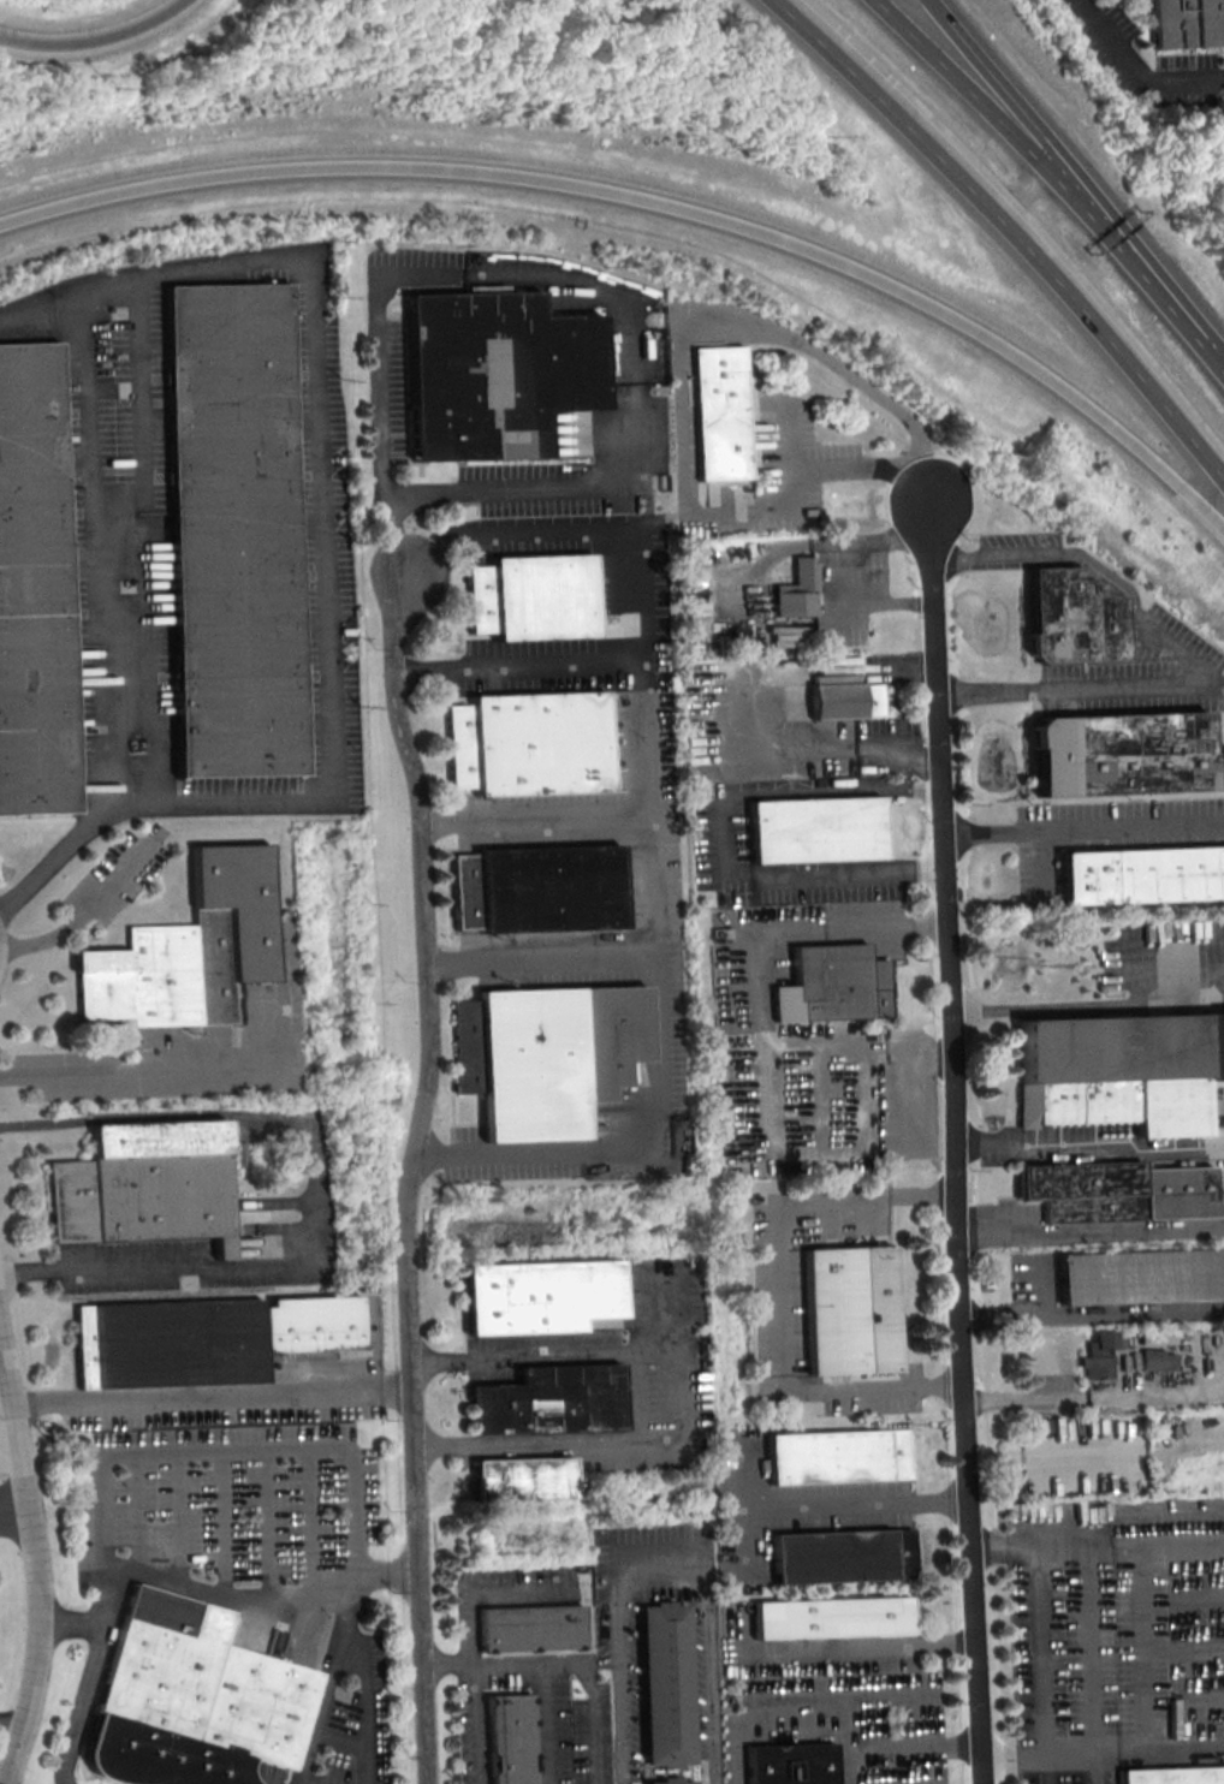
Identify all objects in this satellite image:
building: (1187, 22)
road: (94, 37)
parking lot: (1148, 61)
road: (1139, 71)
road: (1011, 96)
road: (978, 99)
road: (1022, 191)
road: (656, 201)
road: (1010, 230)
road: (1153, 279)
road: (576, 284)
road: (67, 295)
road: (677, 343)
building: (498, 375)
parking lot: (390, 389)
building: (719, 414)
road: (821, 466)
road: (927, 472)
building: (234, 530)
road: (810, 543)
road: (99, 546)
road: (1052, 553)
parking lot: (120, 560)
building: (796, 589)
building: (34, 591)
building: (533, 599)
road: (885, 601)
building: (1074, 618)
road: (1181, 658)
road: (527, 668)
road: (1075, 688)
building: (845, 700)
building: (528, 744)
road: (828, 745)
building: (1128, 756)
road: (329, 787)
road: (899, 787)
road: (539, 820)
road: (659, 826)
building: (819, 831)
road: (1085, 831)
road: (71, 843)
building: (1141, 878)
road: (725, 881)
building: (537, 891)
road: (89, 906)
road: (1141, 941)
building: (190, 952)
road: (545, 955)
building: (830, 985)
road: (1087, 1004)
building: (546, 1058)
road: (214, 1068)
building: (1121, 1071)
road: (761, 1072)
road: (1093, 1142)
road: (959, 1154)
road: (414, 1172)
building: (149, 1187)
building: (1119, 1193)
road: (310, 1195)
road: (1093, 1230)
building: (1143, 1278)
road: (782, 1295)
building: (541, 1300)
building: (851, 1312)
road: (1095, 1313)
road: (665, 1325)
building: (206, 1340)
road: (2, 1350)
building: (1105, 1354)
building: (1160, 1360)
road: (5, 1384)
road: (1097, 1395)
road: (635, 1398)
road: (213, 1401)
building: (547, 1403)
road: (685, 1408)
road: (230, 1451)
road: (1051, 1457)
building: (840, 1458)
building: (524, 1482)
road: (13, 1501)
road: (862, 1504)
road: (748, 1506)
parking lot: (231, 1522)
road: (1100, 1544)
road: (35, 1552)
road: (654, 1556)
building: (844, 1558)
road: (386, 1572)
road: (467, 1589)
road: (230, 1596)
road: (1198, 1598)
building: (832, 1619)
road: (70, 1621)
parking lot: (1116, 1630)
building: (529, 1631)
road: (878, 1640)
parking lot: (616, 1643)
road: (1199, 1649)
road: (564, 1664)
road: (1103, 1664)
road: (1045, 1665)
road: (705, 1669)
road: (614, 1670)
building: (662, 1687)
road: (1202, 1696)
road: (824, 1699)
road: (362, 1703)
building: (194, 1708)
parking lot: (343, 1711)
road: (8, 1719)
road: (545, 1724)
parking lot: (839, 1729)
road: (338, 1740)
building: (509, 1740)
road: (845, 1741)
road: (916, 1747)
road: (1106, 1754)
building: (791, 1764)
building: (1175, 1776)
road: (269, 1779)
road: (304, 1782)
building: (669, 1782)
road: (893, 1783)

